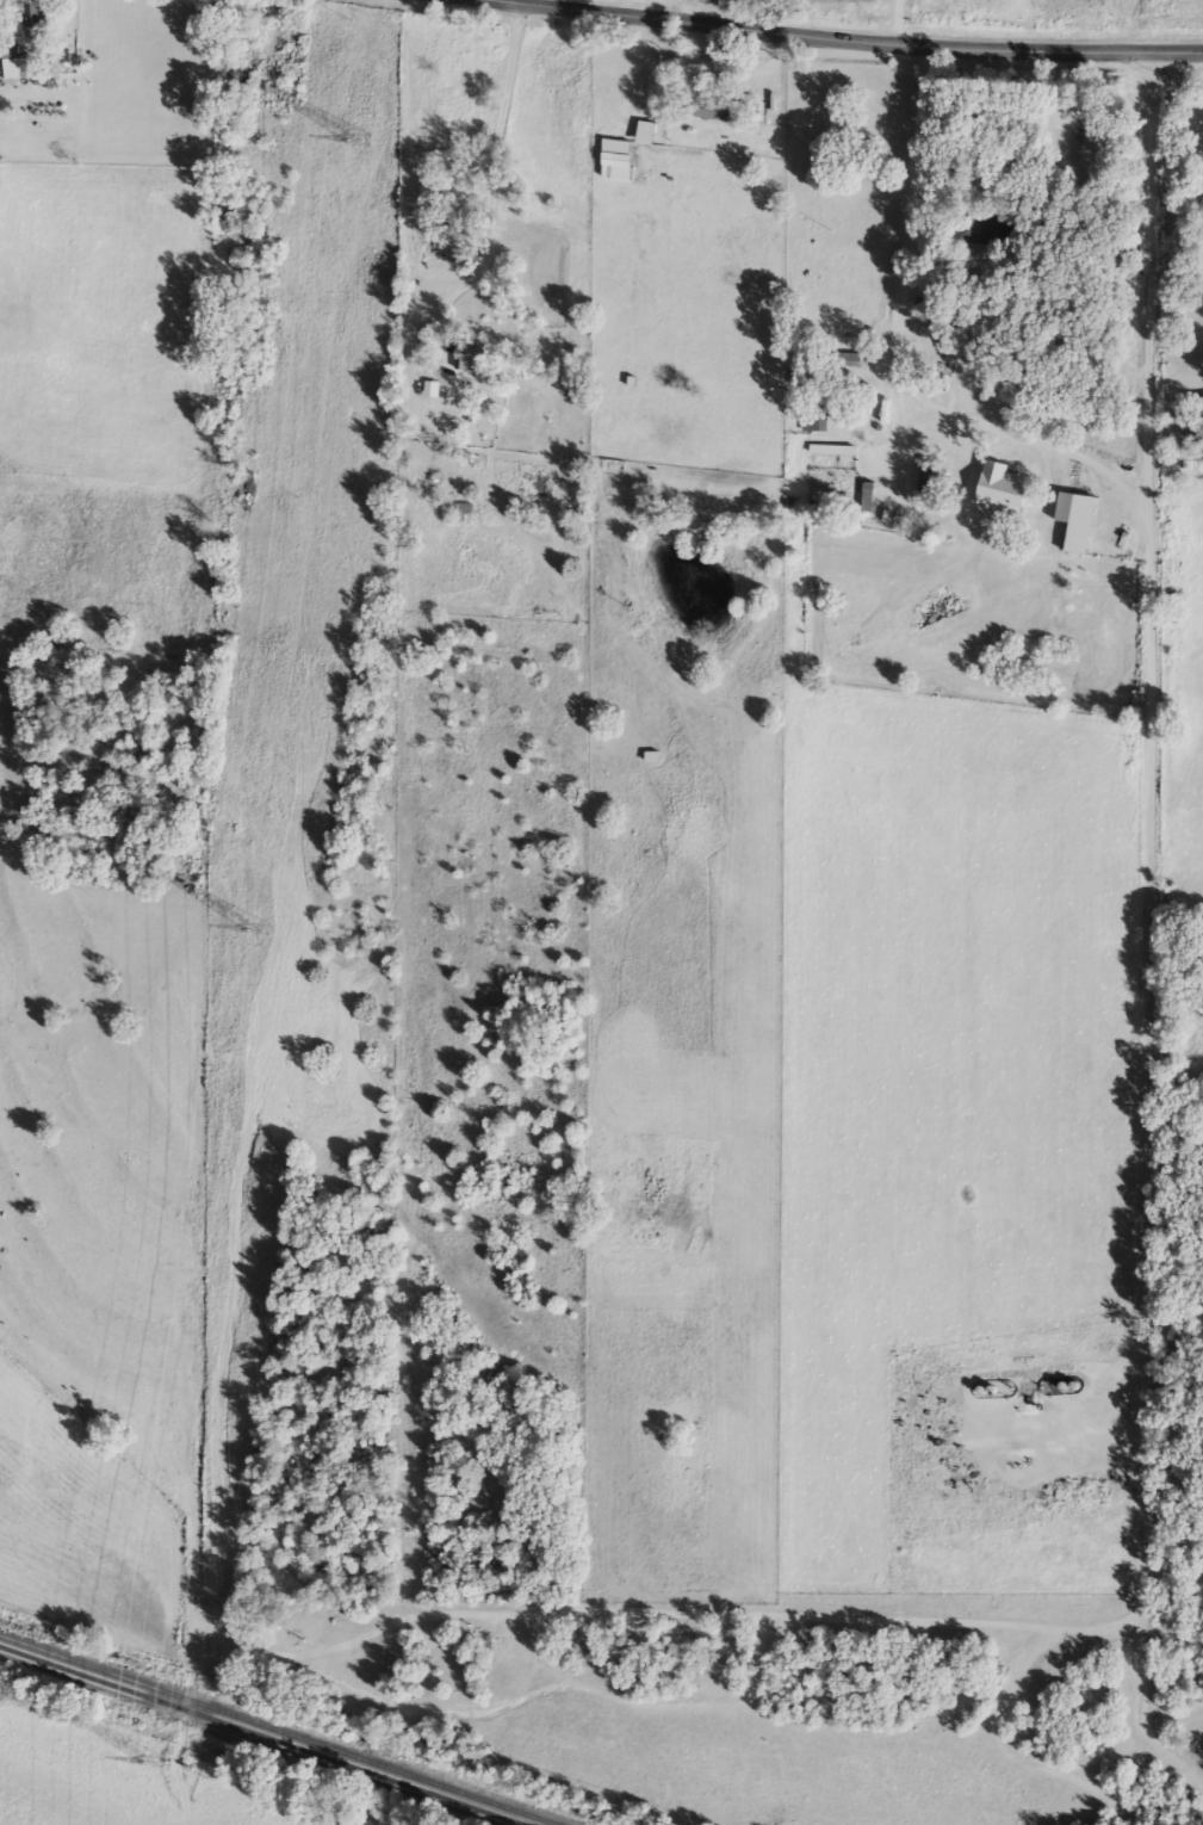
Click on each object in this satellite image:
road: (508, 1)
road: (519, 1)
building: (32, 19)
road: (860, 41)
road: (720, 66)
building: (11, 67)
road: (1188, 81)
building: (712, 107)
building: (643, 135)
power tower: (354, 141)
building: (614, 149)
road: (491, 175)
road: (1142, 278)
building: (465, 358)
building: (428, 390)
building: (817, 417)
building: (928, 478)
building: (1078, 526)
road: (1151, 911)
power tower: (255, 930)
building: (992, 1504)
railway: (275, 1730)
railway: (260, 1737)
power tower: (154, 1761)

